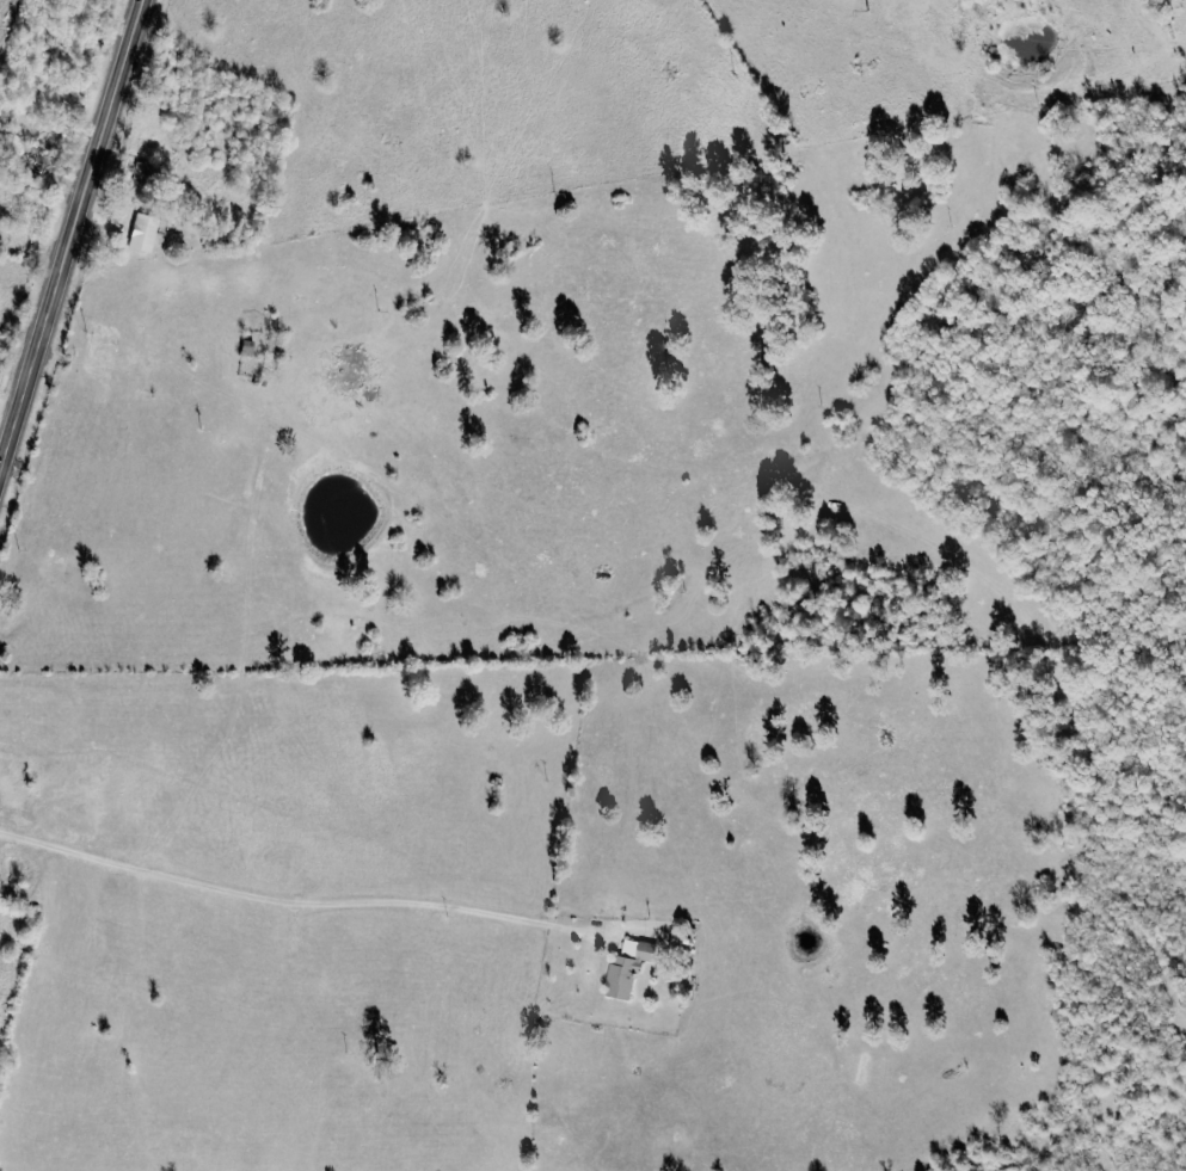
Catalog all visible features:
building: (146, 232)
road: (70, 236)
building: (631, 967)

